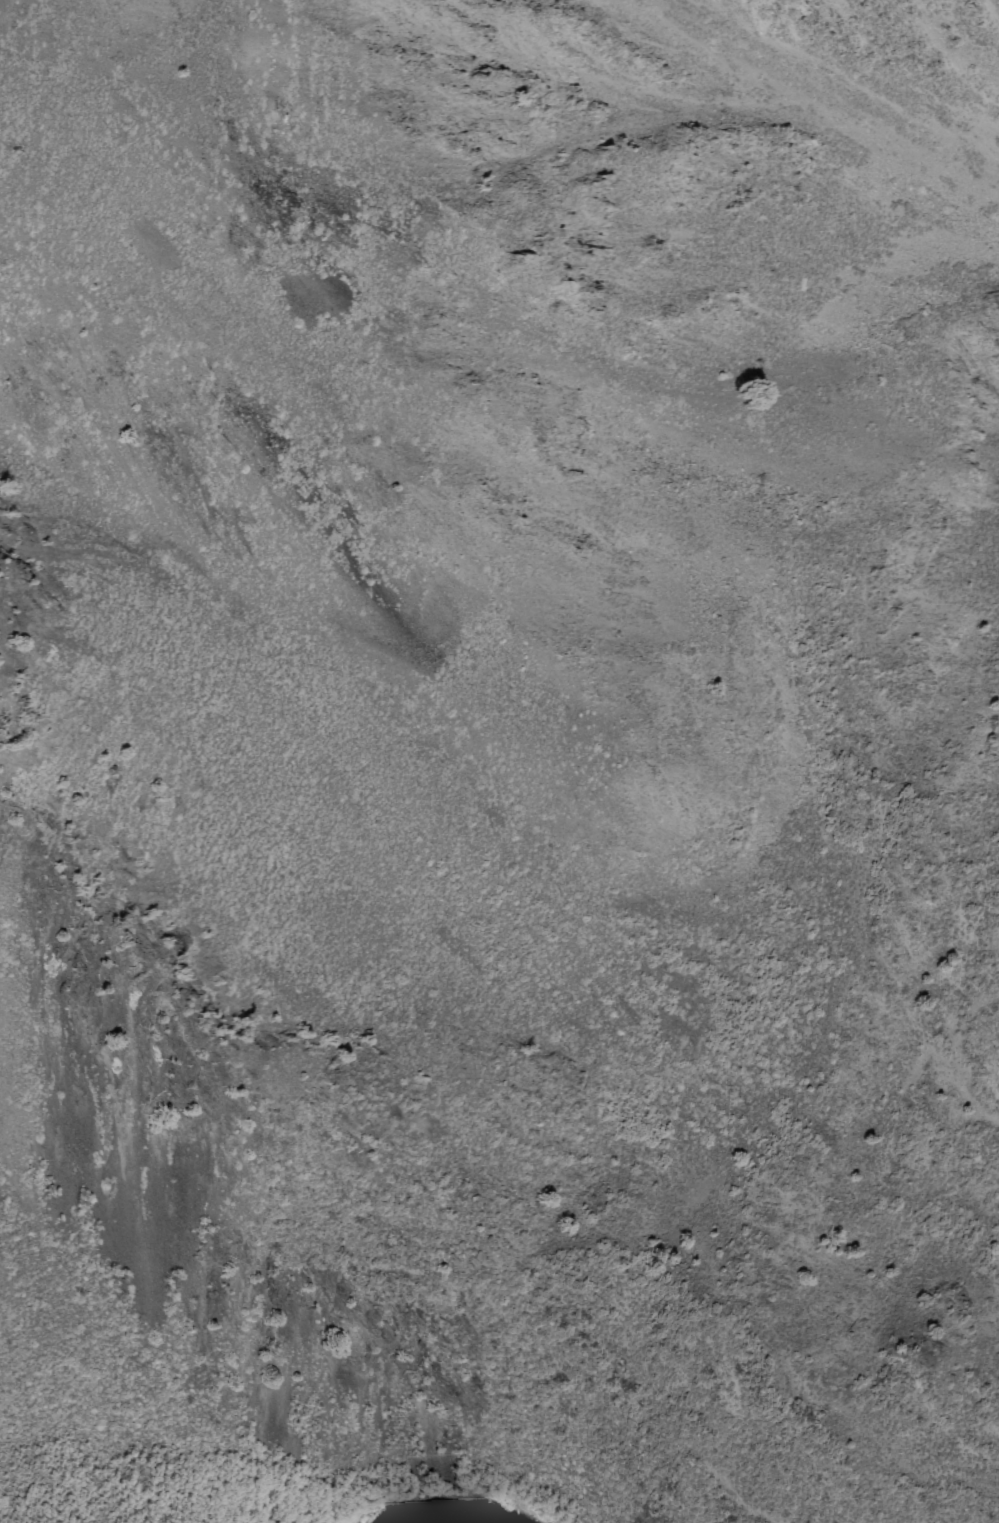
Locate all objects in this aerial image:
road: (448, 1453)

